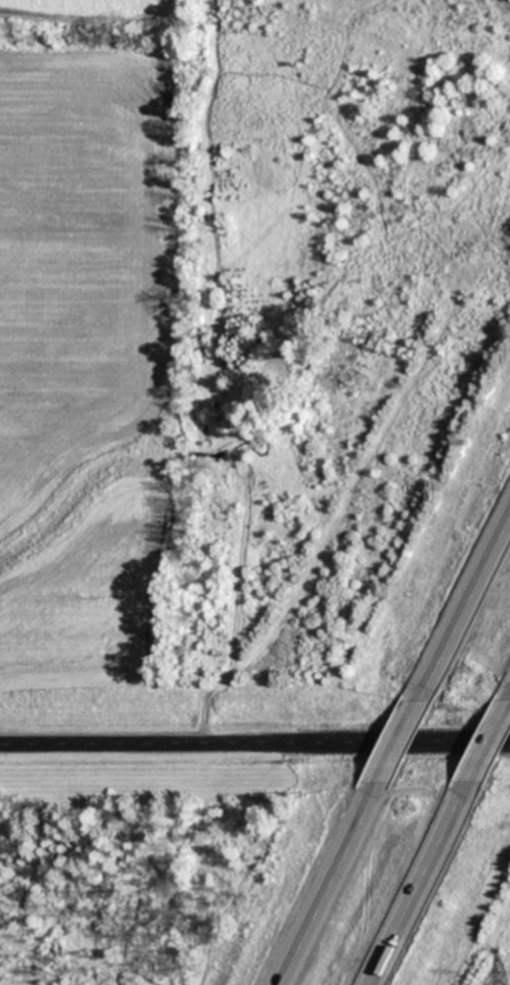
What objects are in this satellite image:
road: (464, 604)
road: (255, 739)
road: (489, 740)
road: (396, 743)
road: (422, 885)
road: (329, 887)

